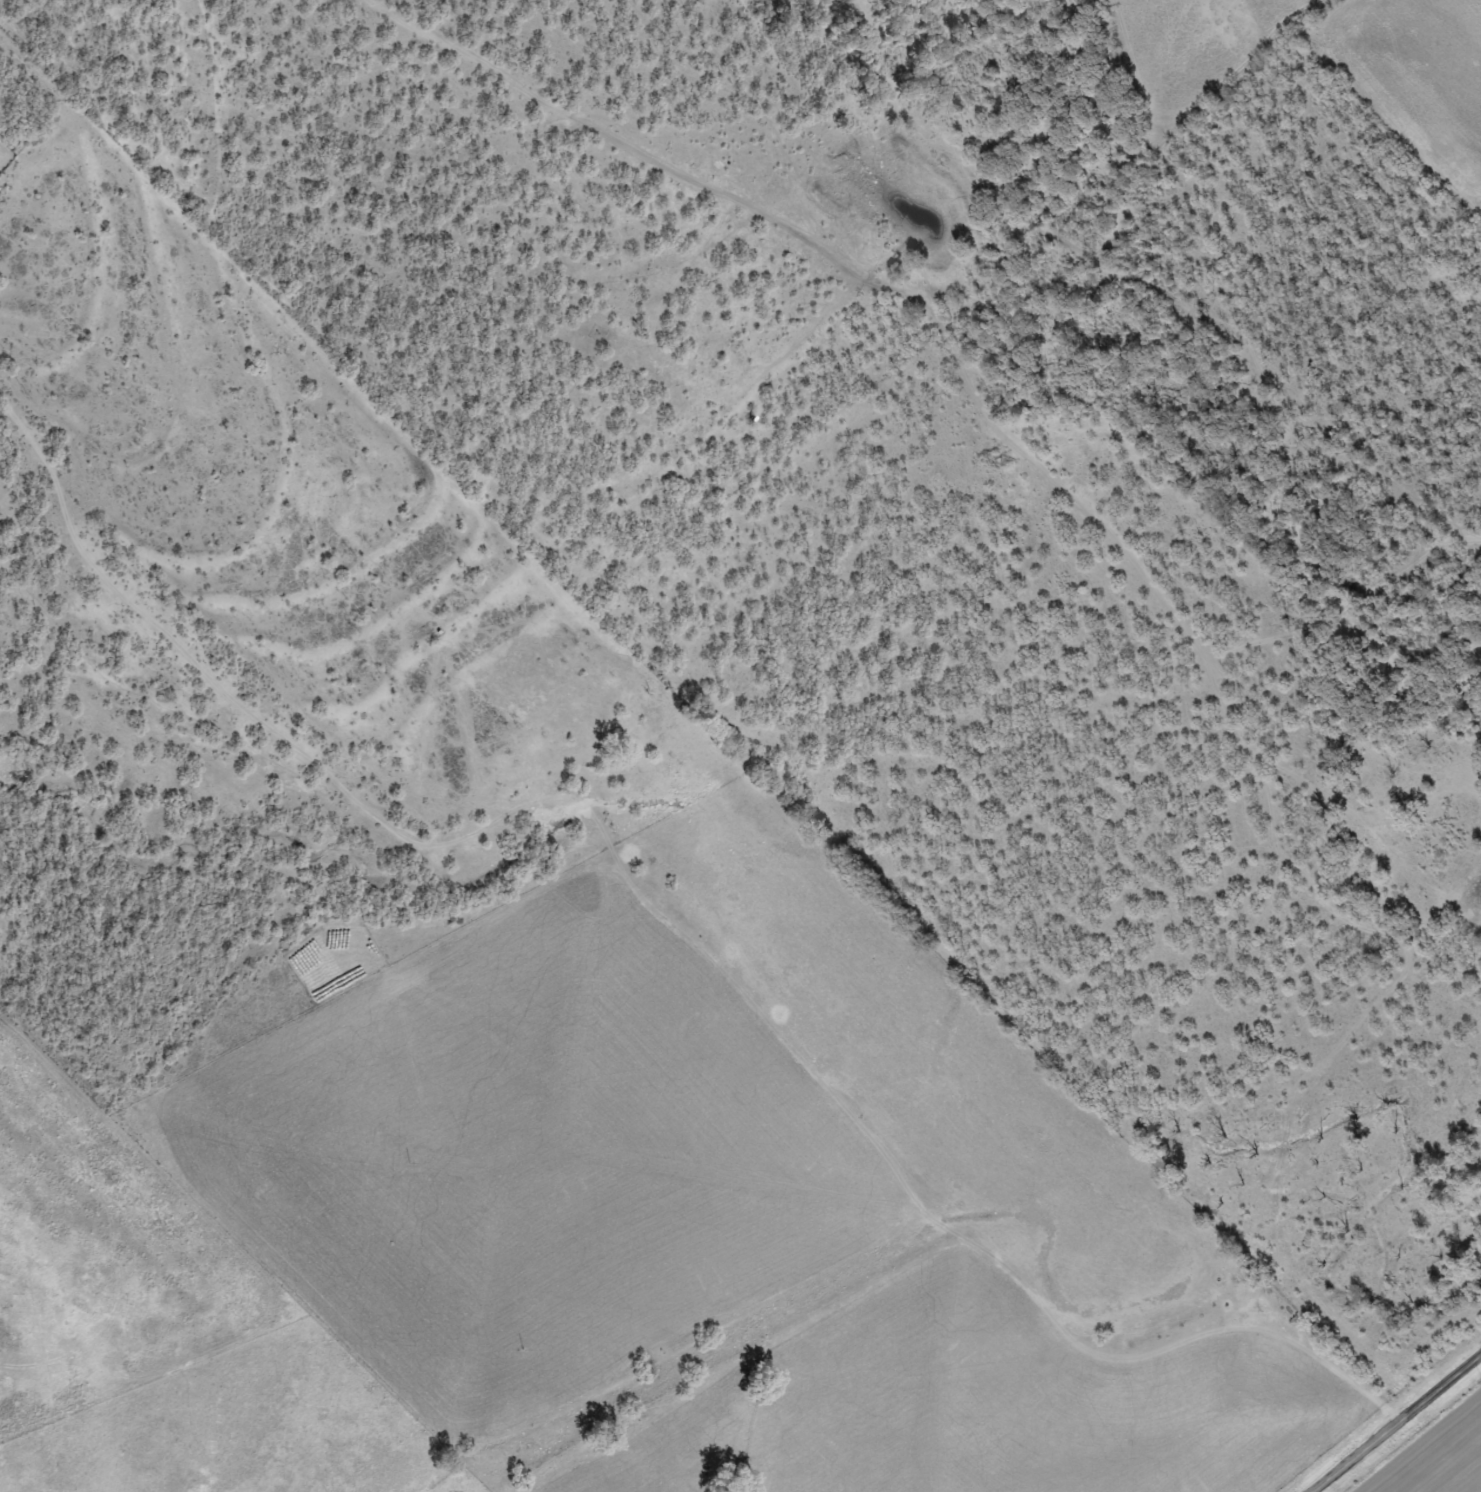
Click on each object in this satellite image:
road: (1395, 1422)

